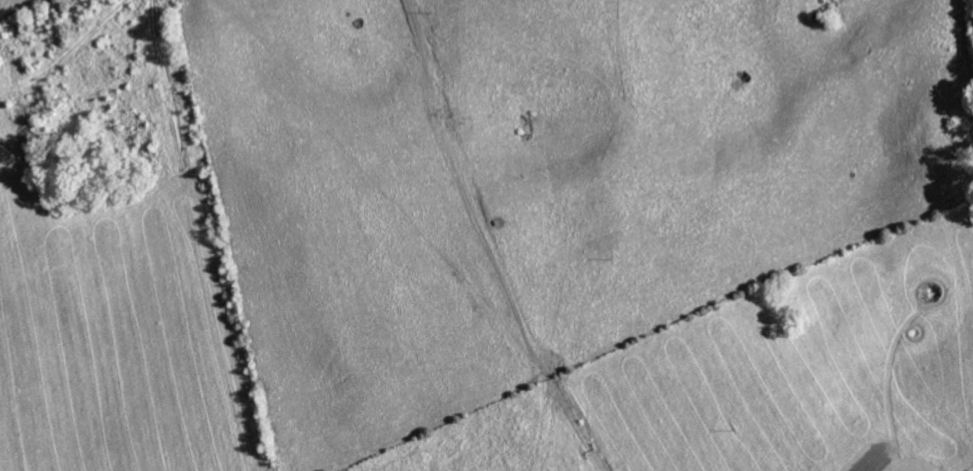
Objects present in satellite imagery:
road: (472, 240)

